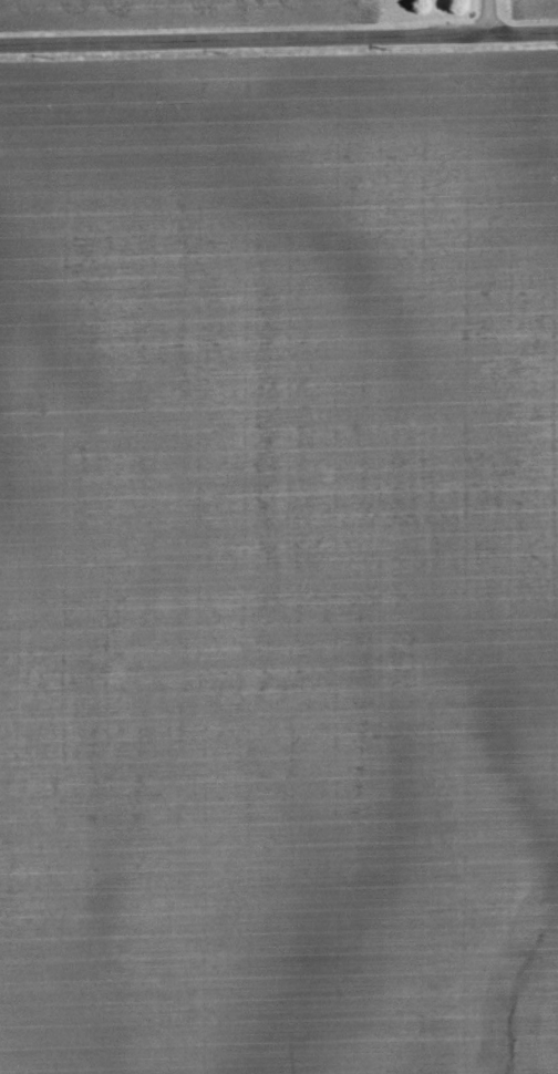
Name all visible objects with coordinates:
road: (279, 38)
crop: (279, 564)

